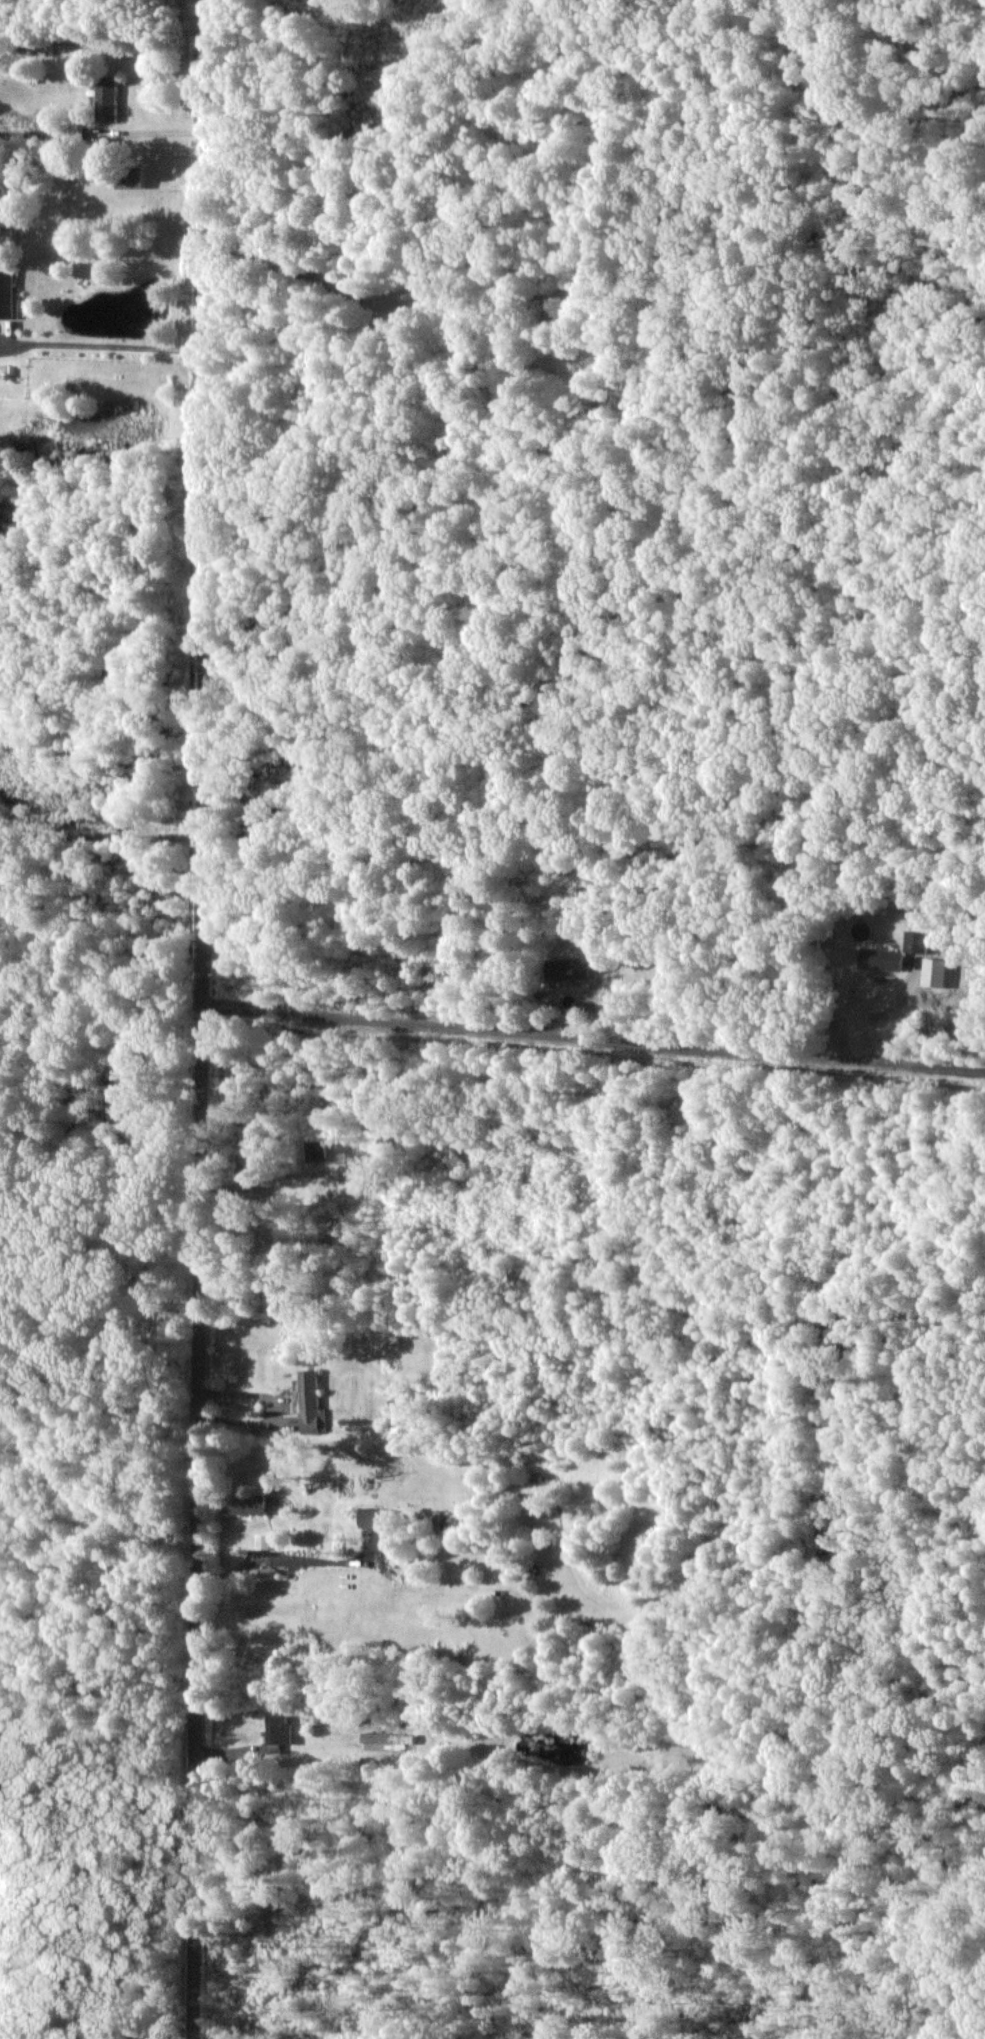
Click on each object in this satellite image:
building: (106, 97)
building: (72, 130)
road: (162, 132)
building: (131, 176)
building: (7, 291)
road: (117, 347)
road: (105, 836)
building: (917, 941)
building: (882, 958)
building: (568, 968)
building: (935, 971)
road: (207, 1019)
road: (571, 1035)
road: (935, 1064)
building: (315, 1150)
building: (373, 1175)
building: (310, 1402)
road: (273, 1409)
building: (246, 1503)
building: (371, 1516)
building: (263, 1541)
building: (278, 1731)
building: (388, 1740)

